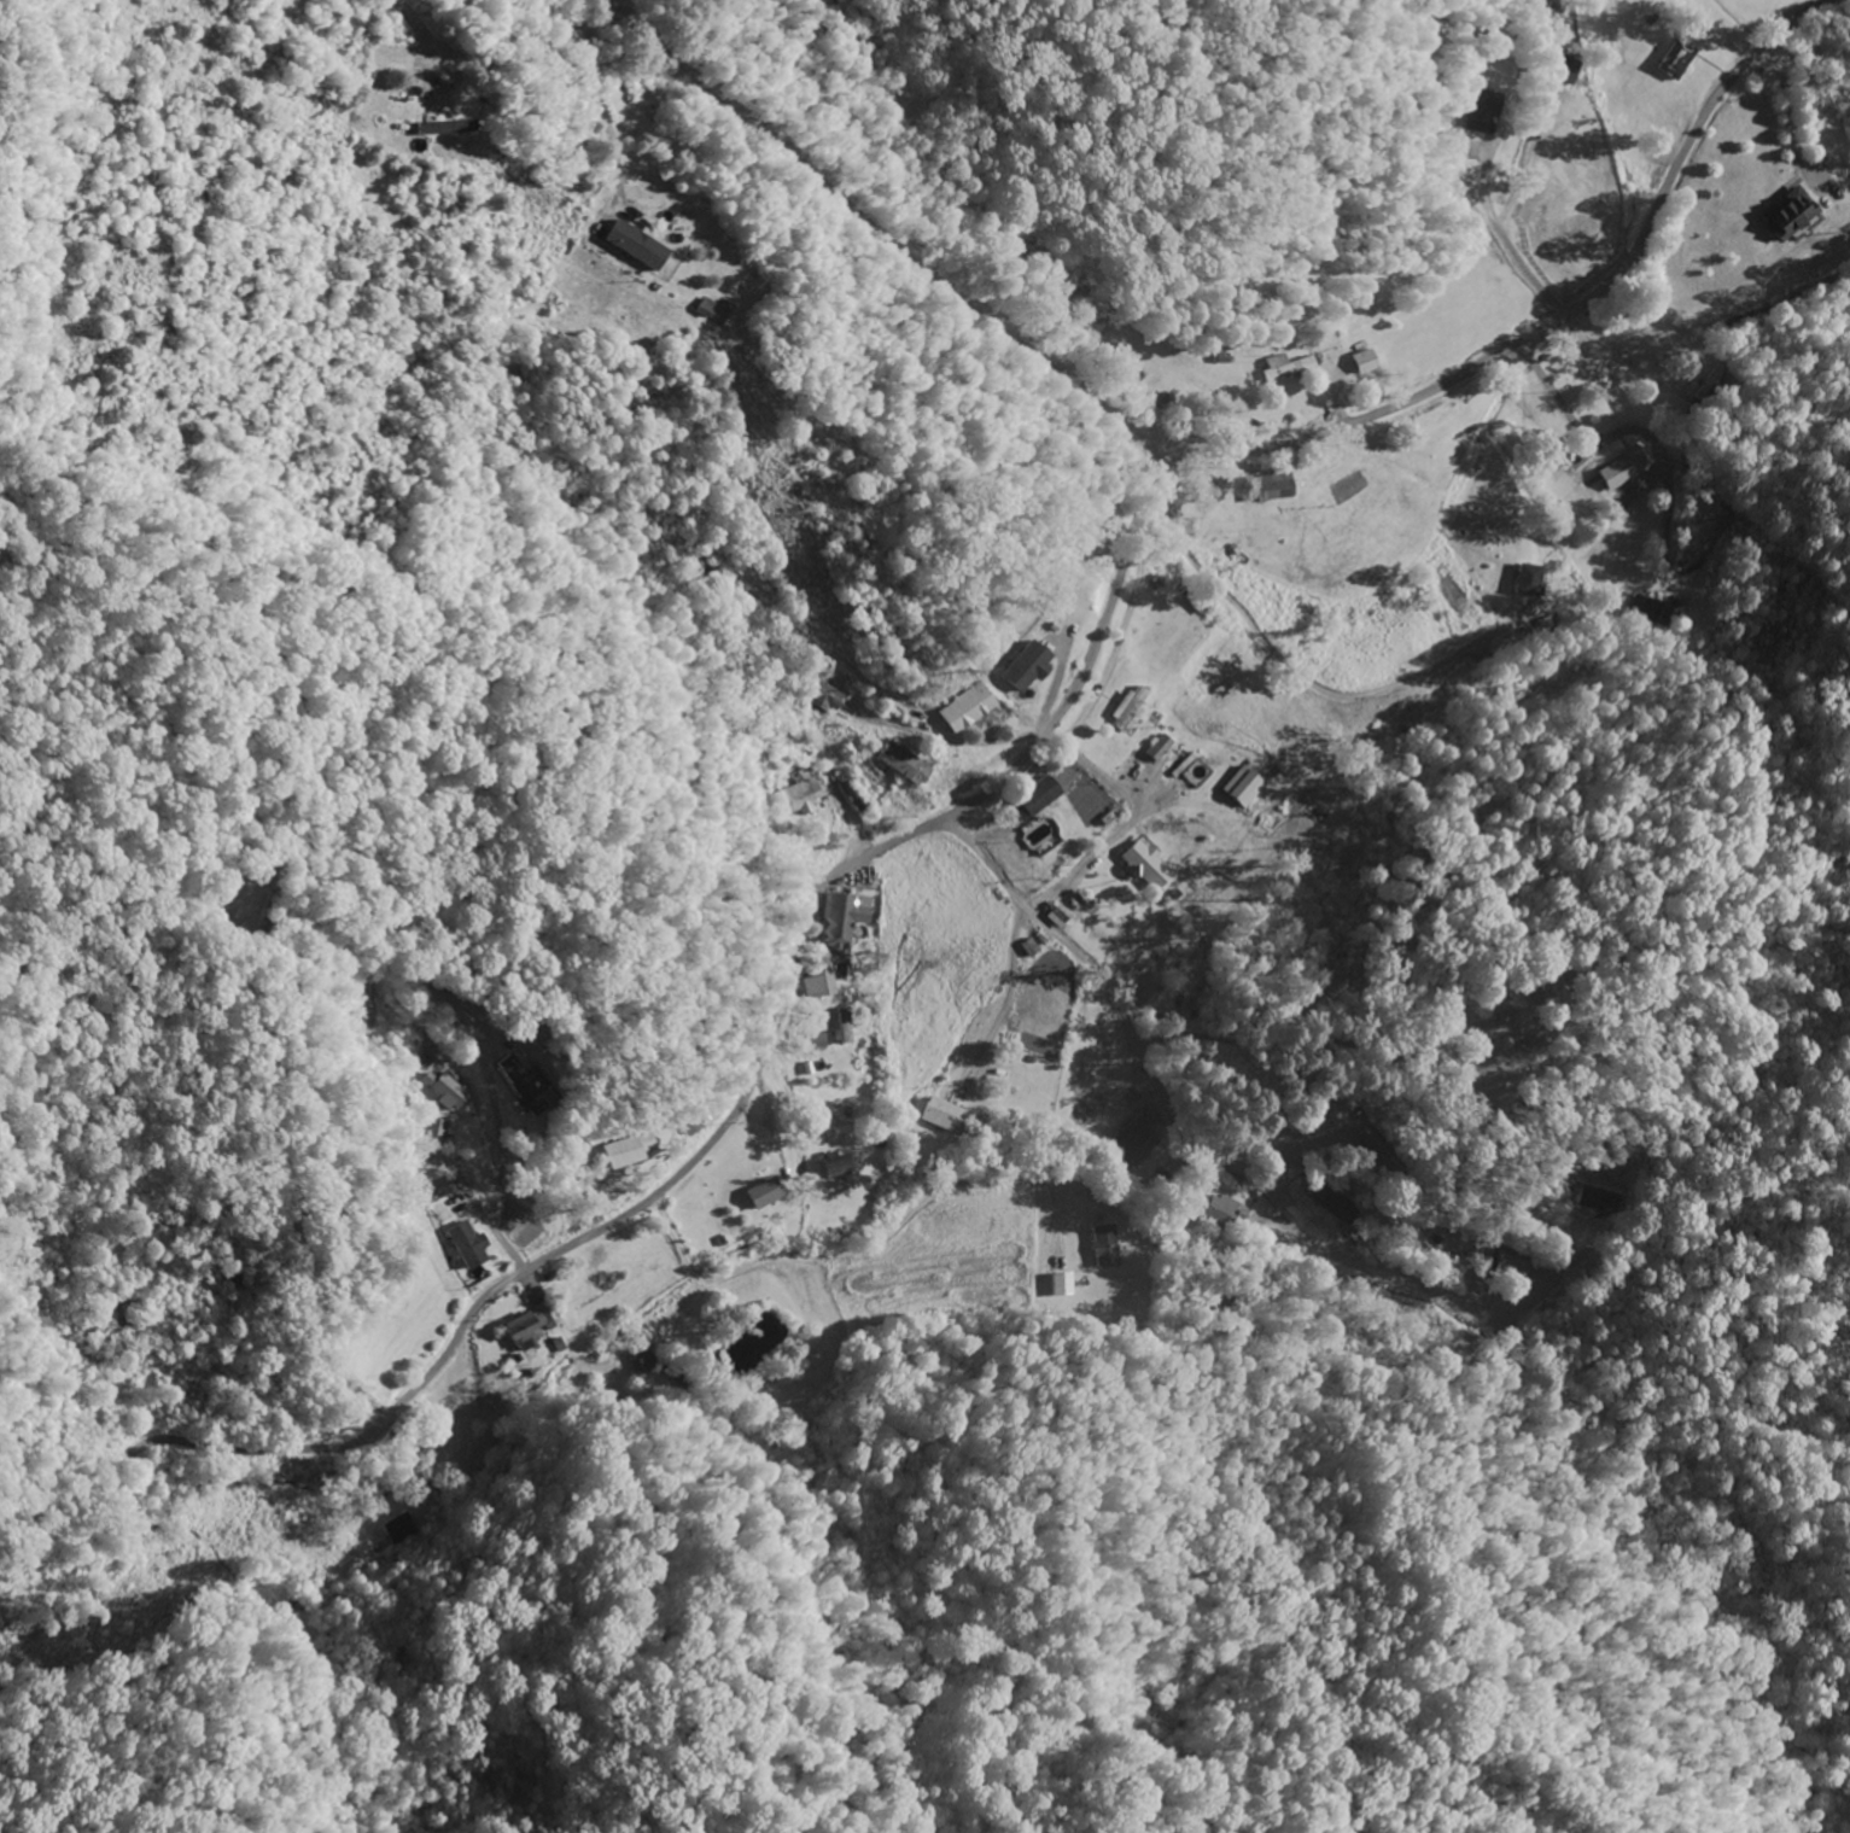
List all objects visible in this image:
building: (1675, 59)
building: (1563, 70)
building: (1481, 112)
building: (445, 128)
road: (810, 170)
building: (1787, 216)
building: (634, 246)
building: (702, 308)
building: (1364, 362)
building: (1288, 368)
building: (1622, 471)
building: (1267, 488)
building: (1527, 580)
building: (1656, 613)
building: (1025, 669)
building: (825, 697)
building: (965, 711)
building: (1127, 713)
road: (957, 741)
building: (1157, 749)
building: (904, 764)
building: (1241, 788)
building: (803, 794)
building: (1032, 799)
road: (946, 817)
building: (1143, 866)
building: (839, 923)
building: (819, 982)
building: (845, 1026)
building: (813, 1041)
road: (1294, 1047)
building: (515, 1084)
building: (445, 1091)
road: (1166, 1101)
building: (939, 1116)
building: (437, 1131)
building: (1128, 1145)
building: (625, 1151)
building: (436, 1192)
building: (760, 1196)
building: (1331, 1203)
building: (1221, 1210)
building: (466, 1247)
building: (1103, 1248)
building: (1511, 1267)
building: (1063, 1285)
building: (527, 1329)
building: (643, 1361)

